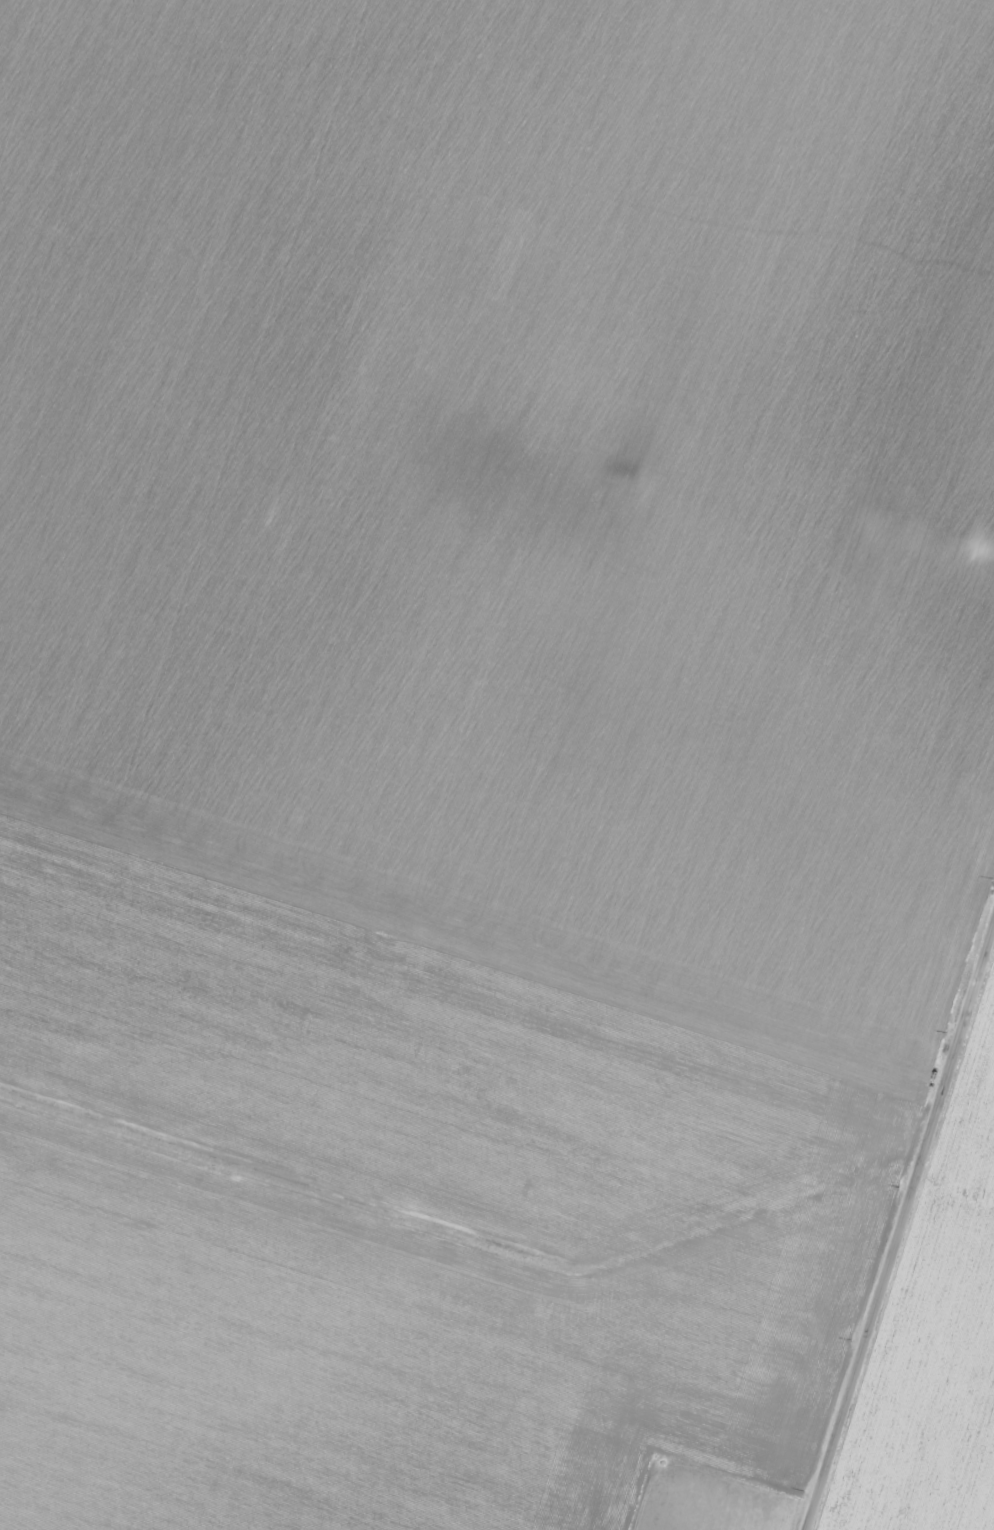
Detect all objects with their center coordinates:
road: (899, 1232)

